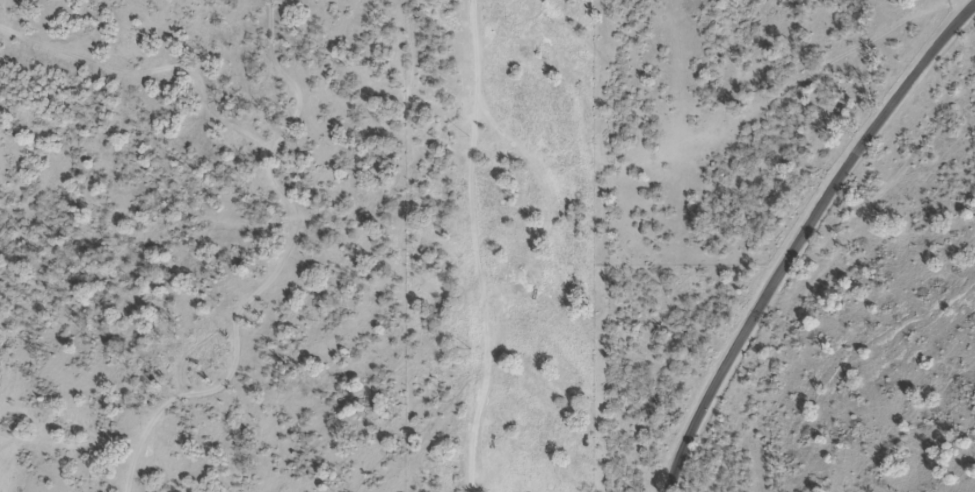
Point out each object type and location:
road: (806, 241)
road: (449, 246)

